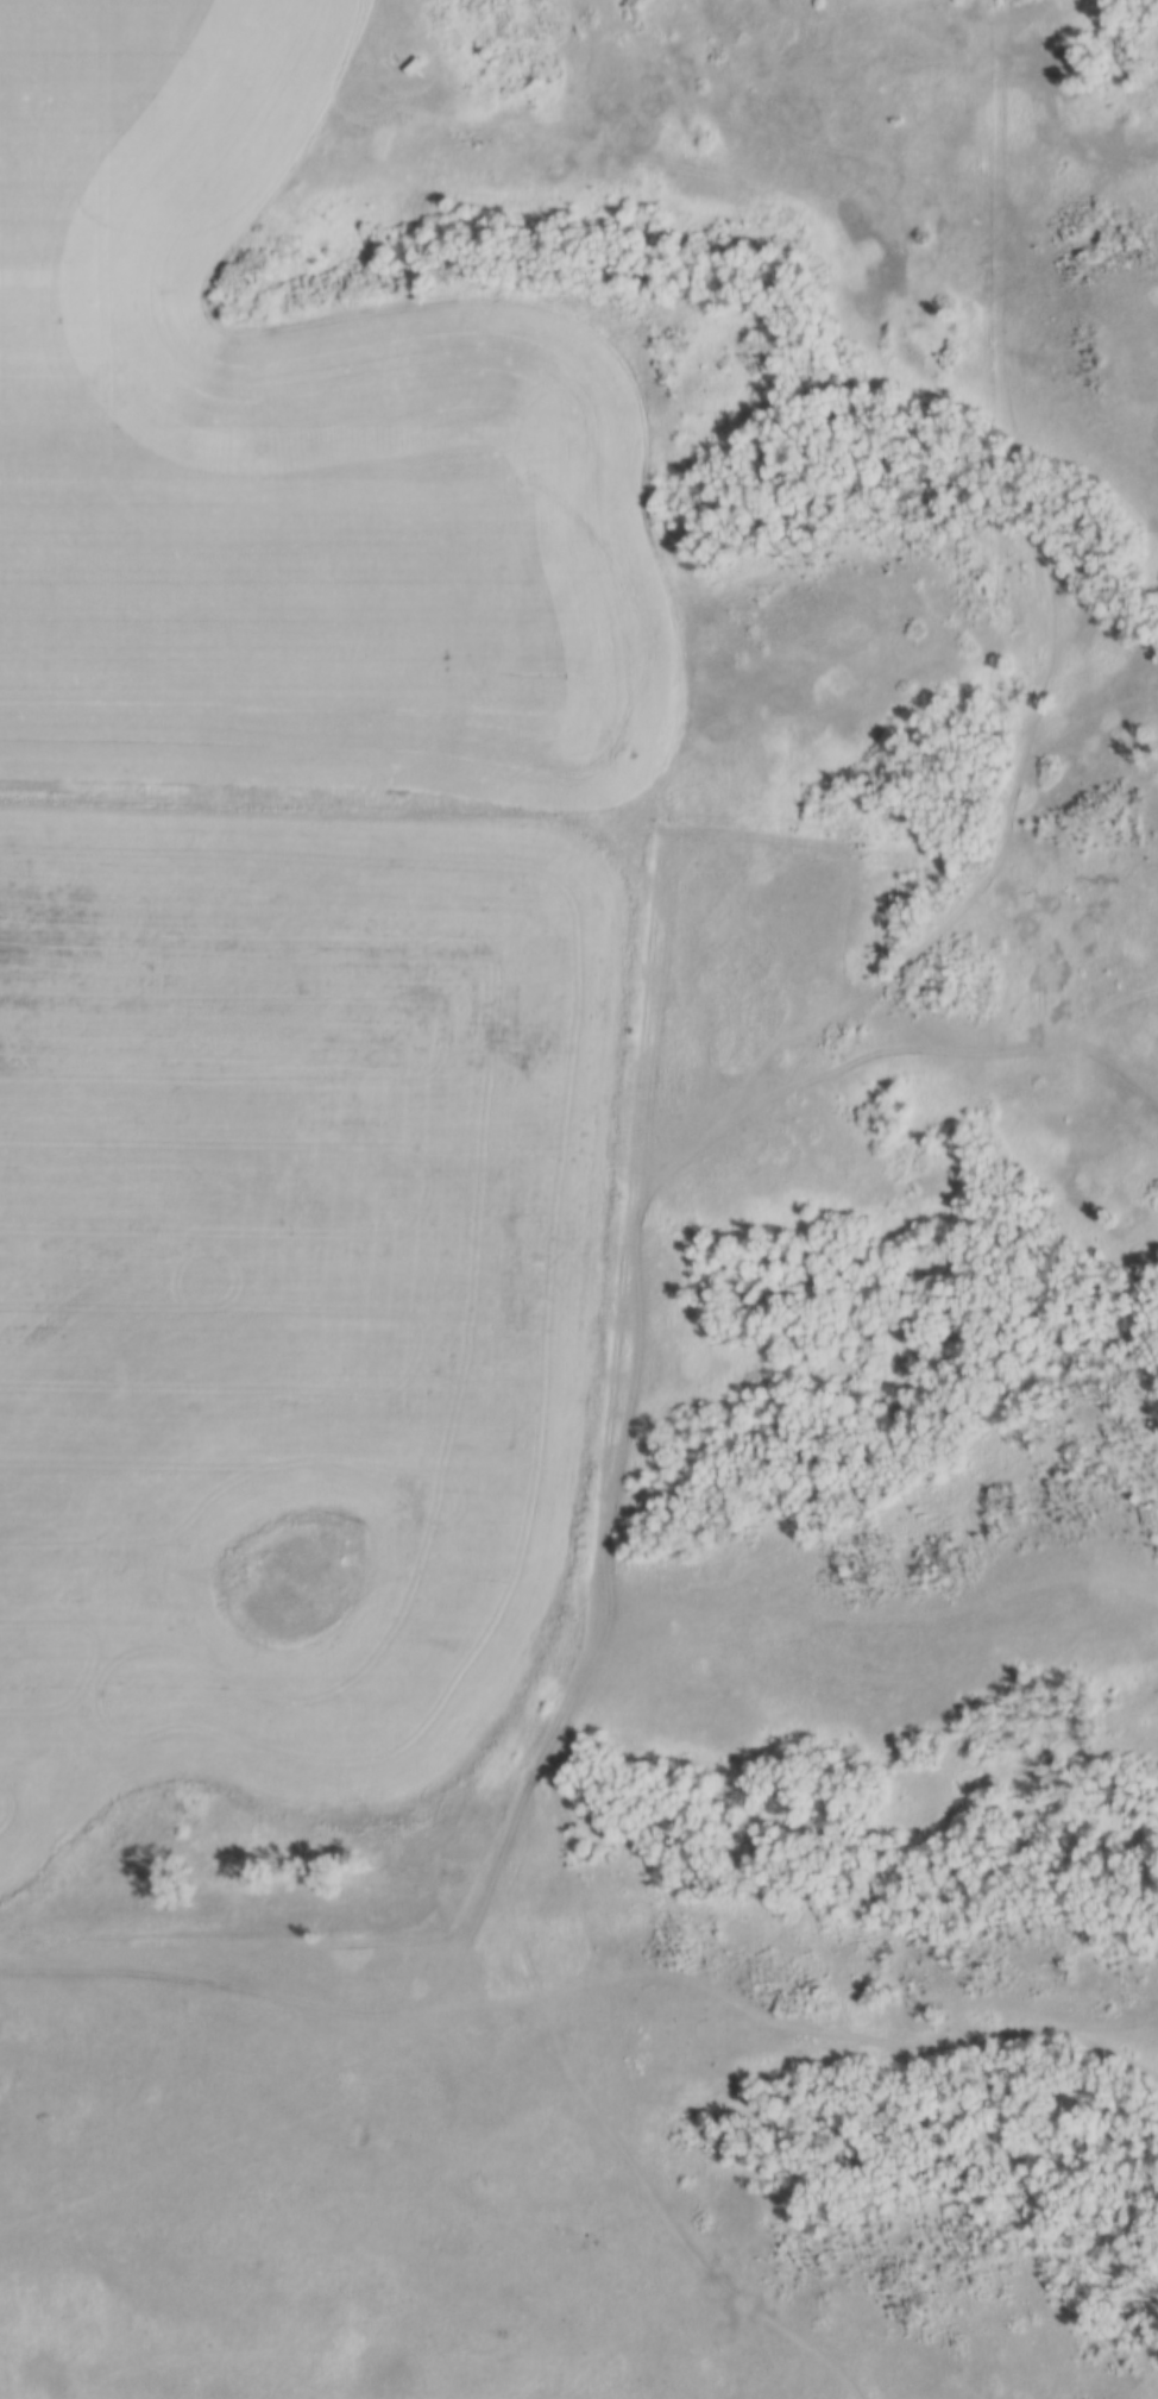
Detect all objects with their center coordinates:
road: (522, 2011)

